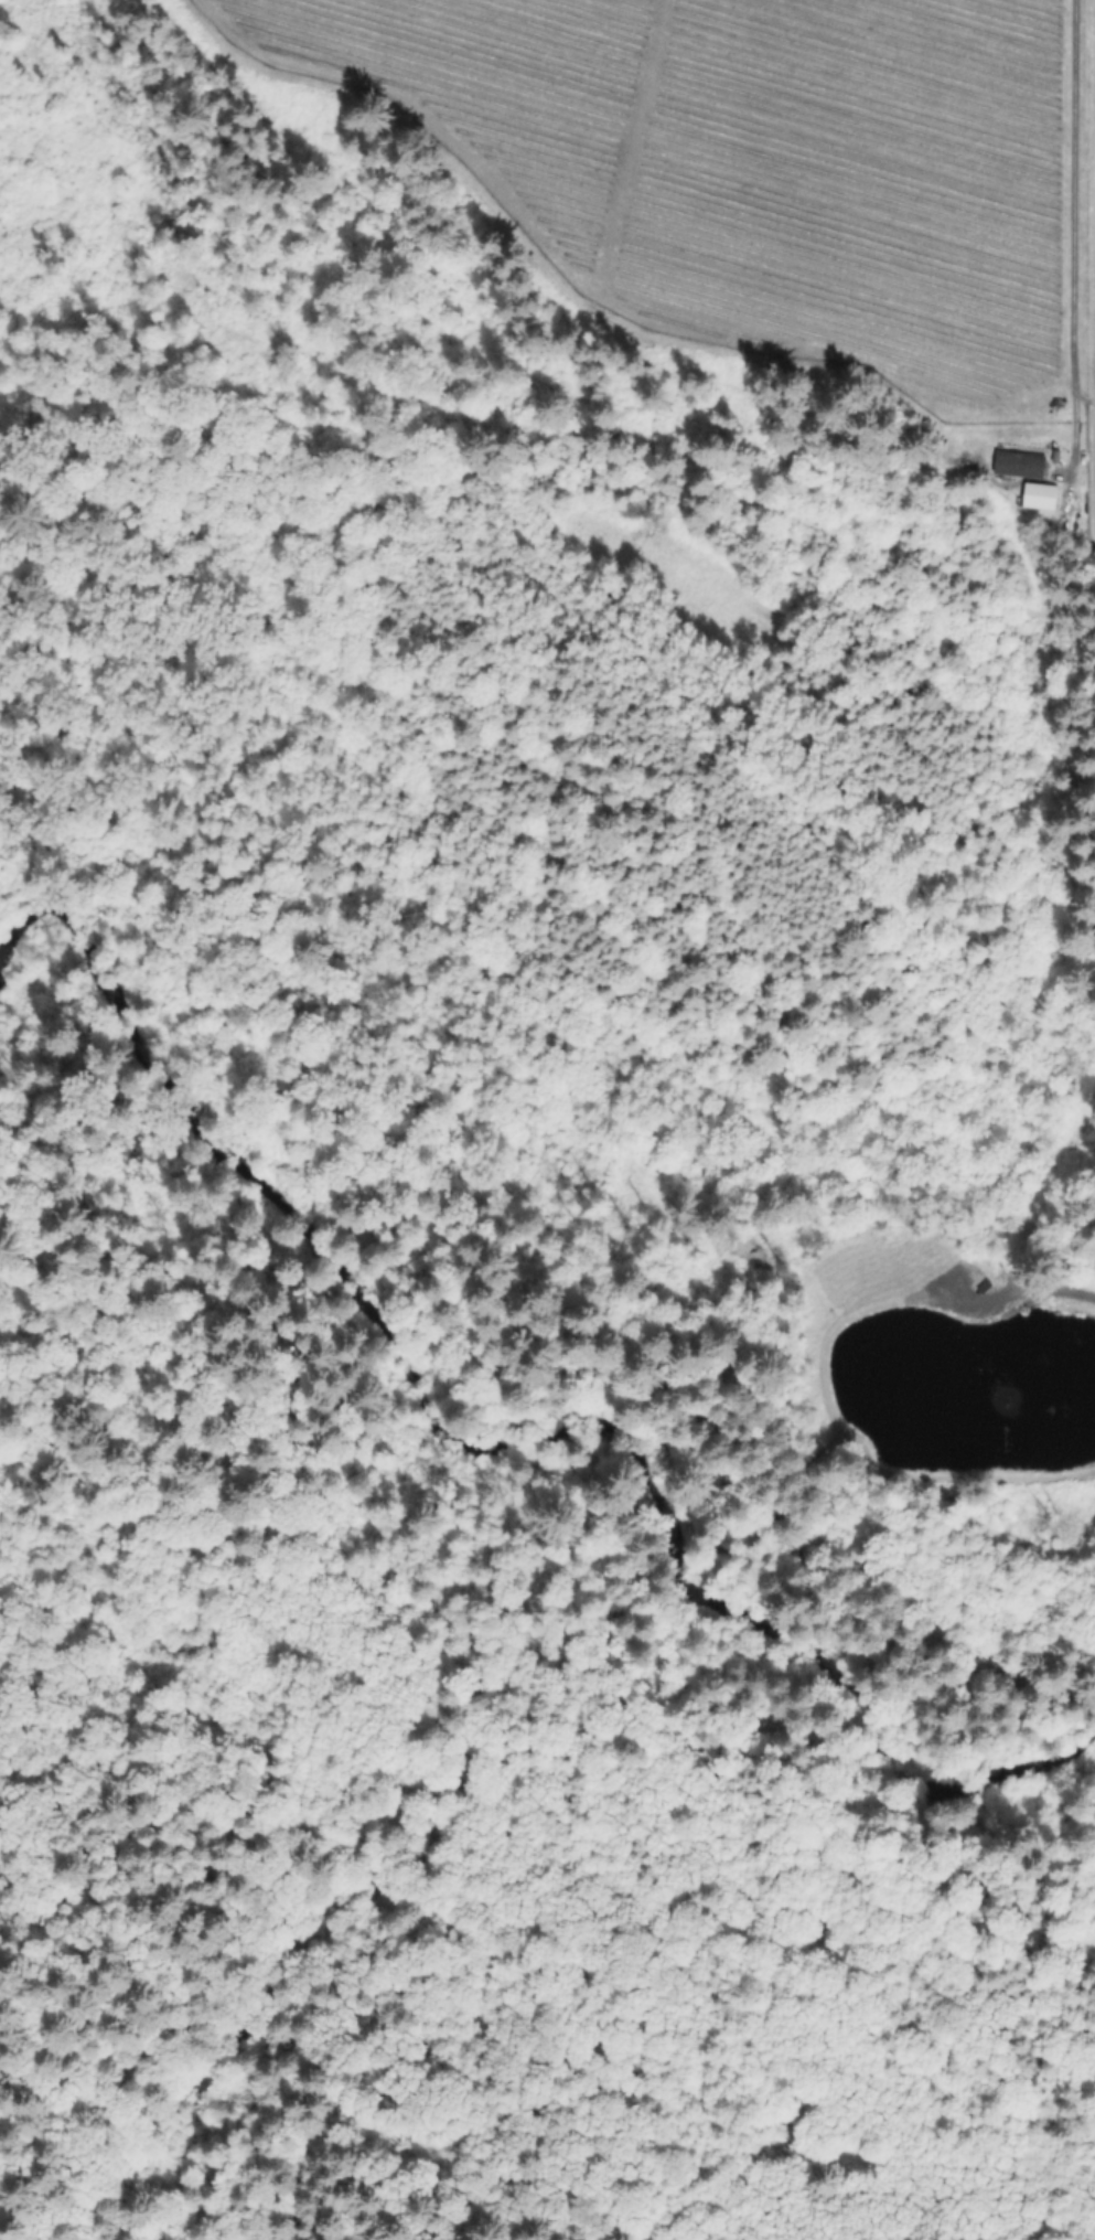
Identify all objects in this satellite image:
road: (1082, 235)
building: (1019, 466)
building: (1040, 495)
building: (783, 2137)

